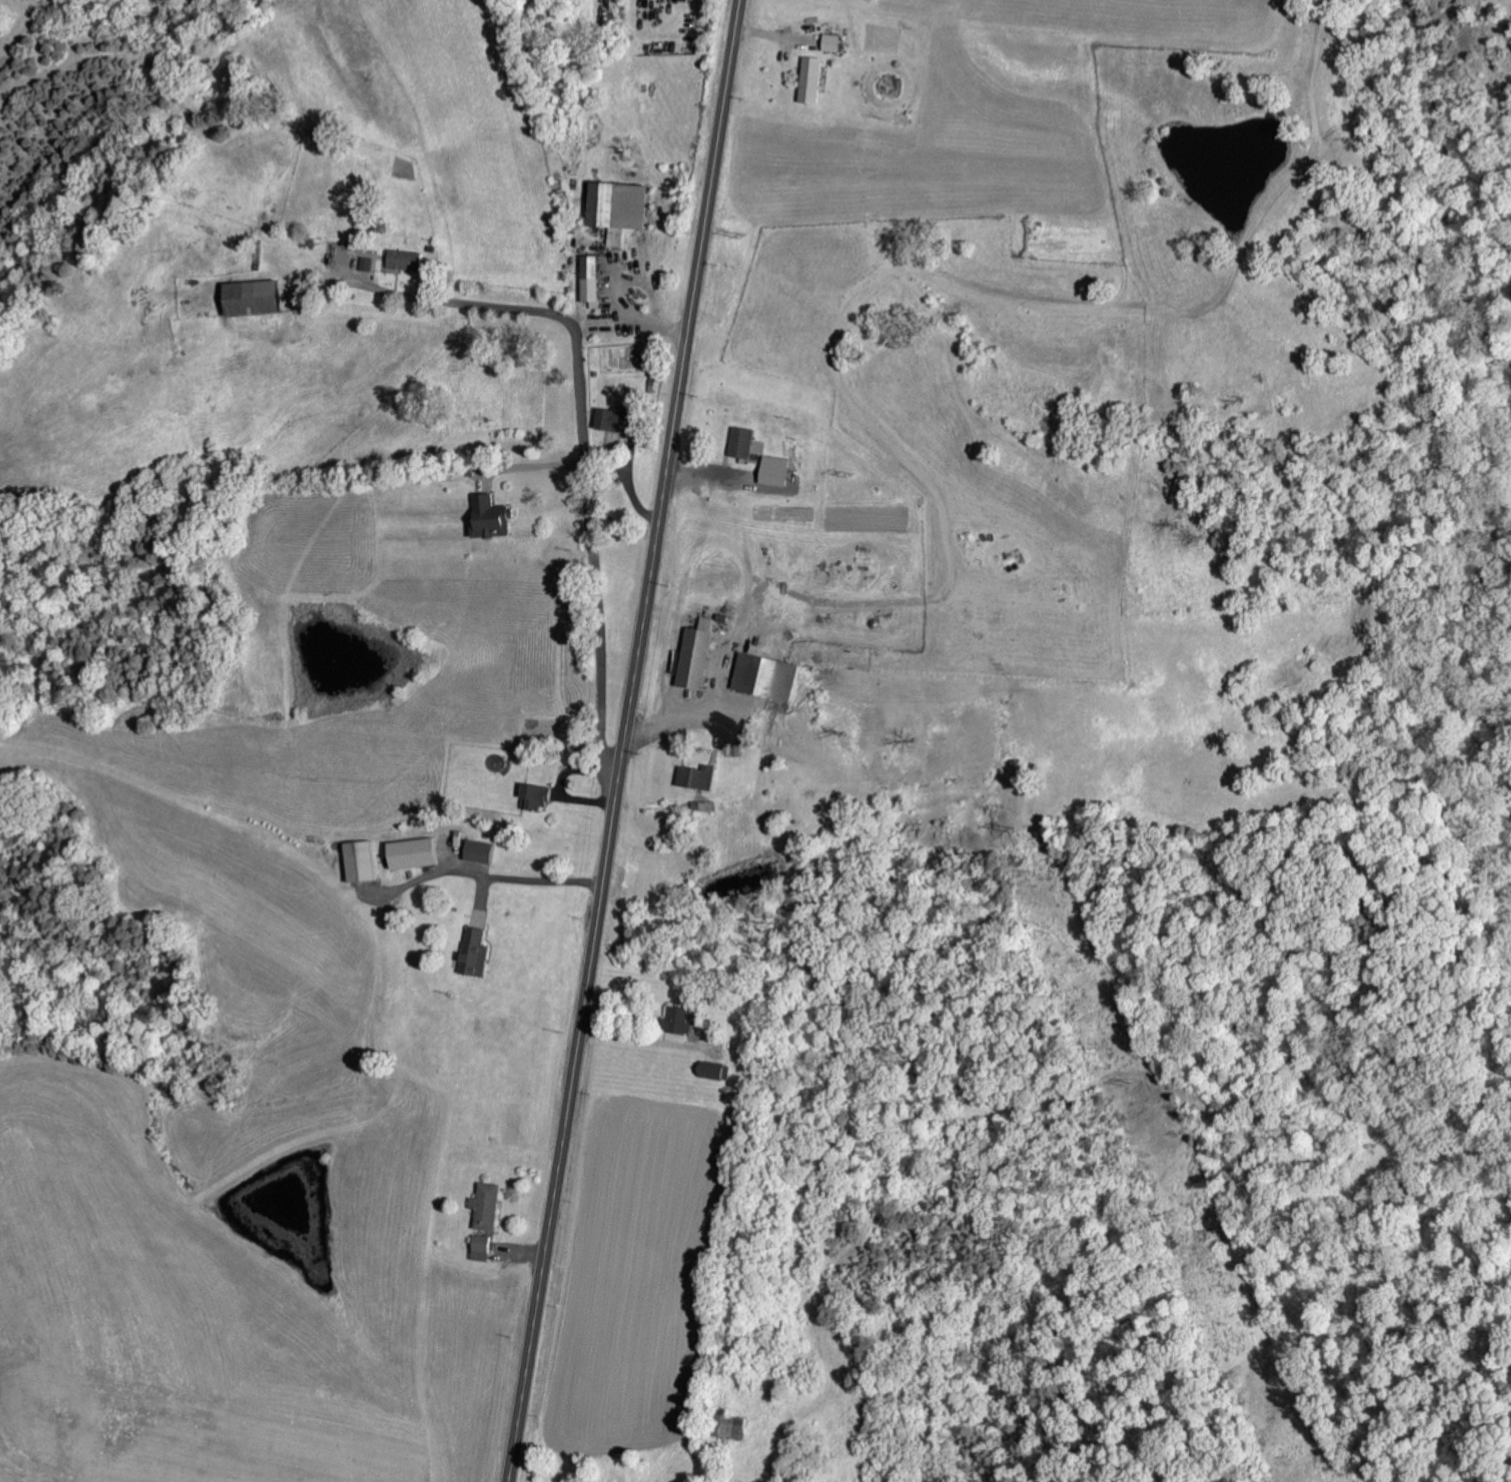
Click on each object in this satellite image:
building: (829, 43)
building: (808, 80)
building: (615, 209)
building: (403, 261)
building: (366, 264)
building: (588, 281)
building: (250, 299)
building: (606, 419)
road: (587, 437)
building: (739, 442)
building: (772, 471)
building: (489, 516)
building: (692, 654)
building: (762, 676)
road: (626, 741)
building: (695, 777)
building: (533, 796)
building: (477, 851)
building: (410, 853)
building: (358, 861)
building: (471, 953)
building: (675, 1020)
building: (708, 1070)
building: (483, 1206)
building: (478, 1248)
building: (729, 1427)

